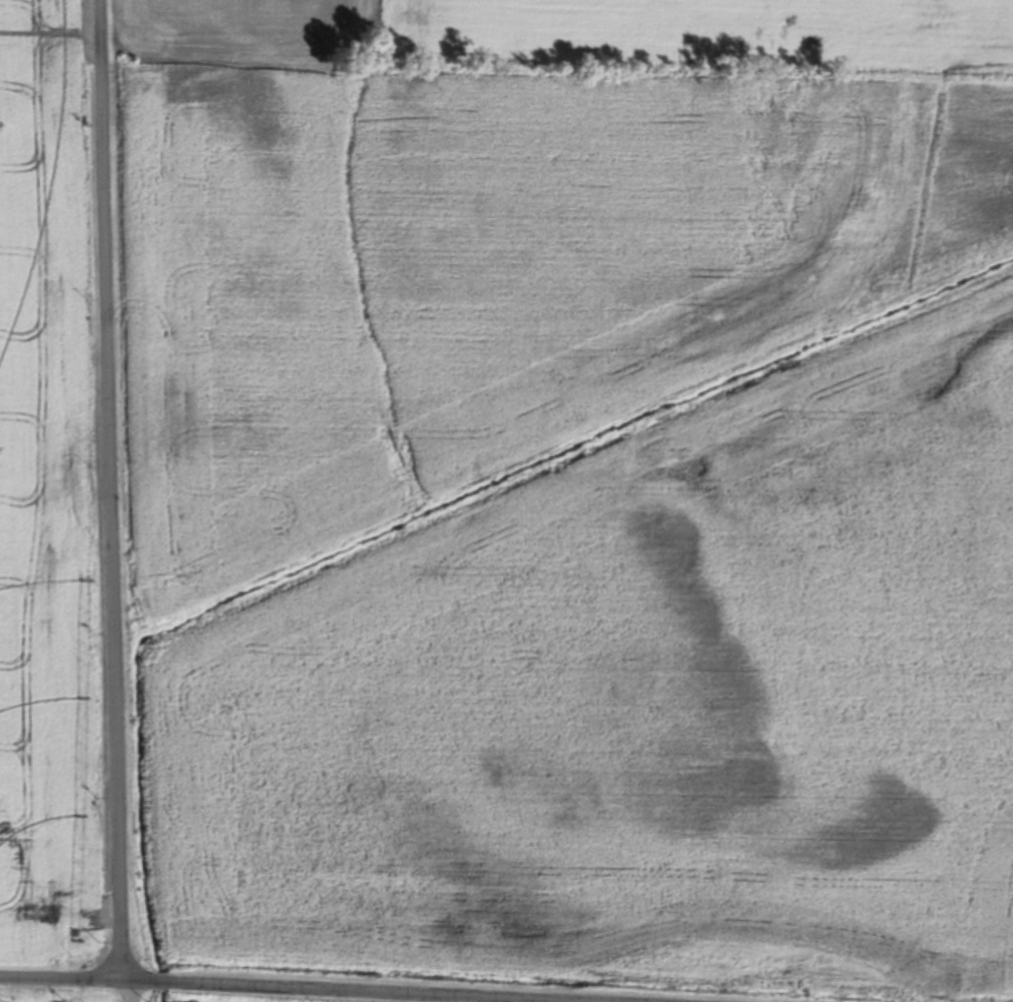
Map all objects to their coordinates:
road: (113, 487)
road: (290, 986)
road: (126, 988)

